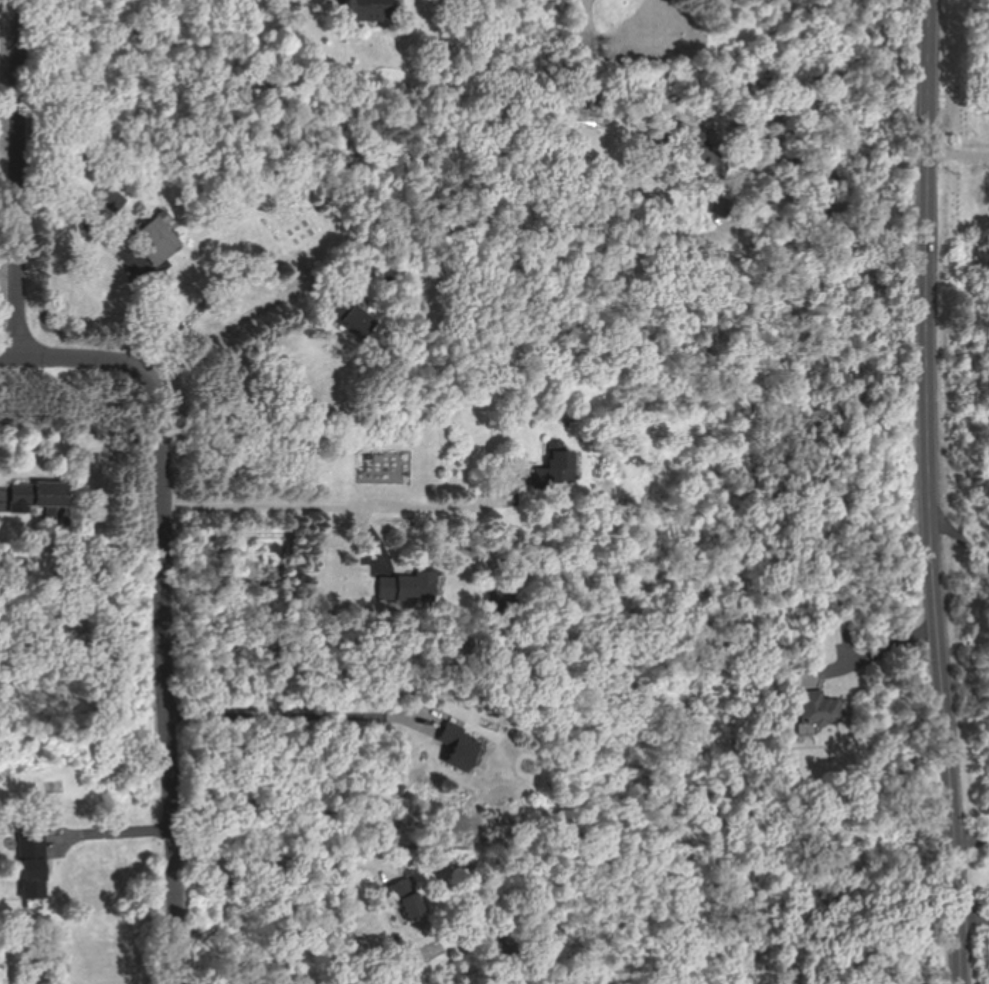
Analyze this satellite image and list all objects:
building: (372, 10)
building: (707, 169)
road: (18, 181)
road: (842, 187)
building: (113, 198)
building: (159, 240)
building: (359, 323)
road: (241, 326)
road: (85, 363)
building: (558, 463)
road: (935, 492)
building: (40, 494)
road: (1, 499)
road: (357, 510)
road: (962, 541)
building: (410, 588)
road: (897, 643)
road: (173, 681)
building: (818, 707)
road: (304, 708)
building: (459, 747)
road: (110, 832)
road: (974, 846)
road: (277, 855)
building: (35, 867)
building: (407, 901)
road: (975, 919)

